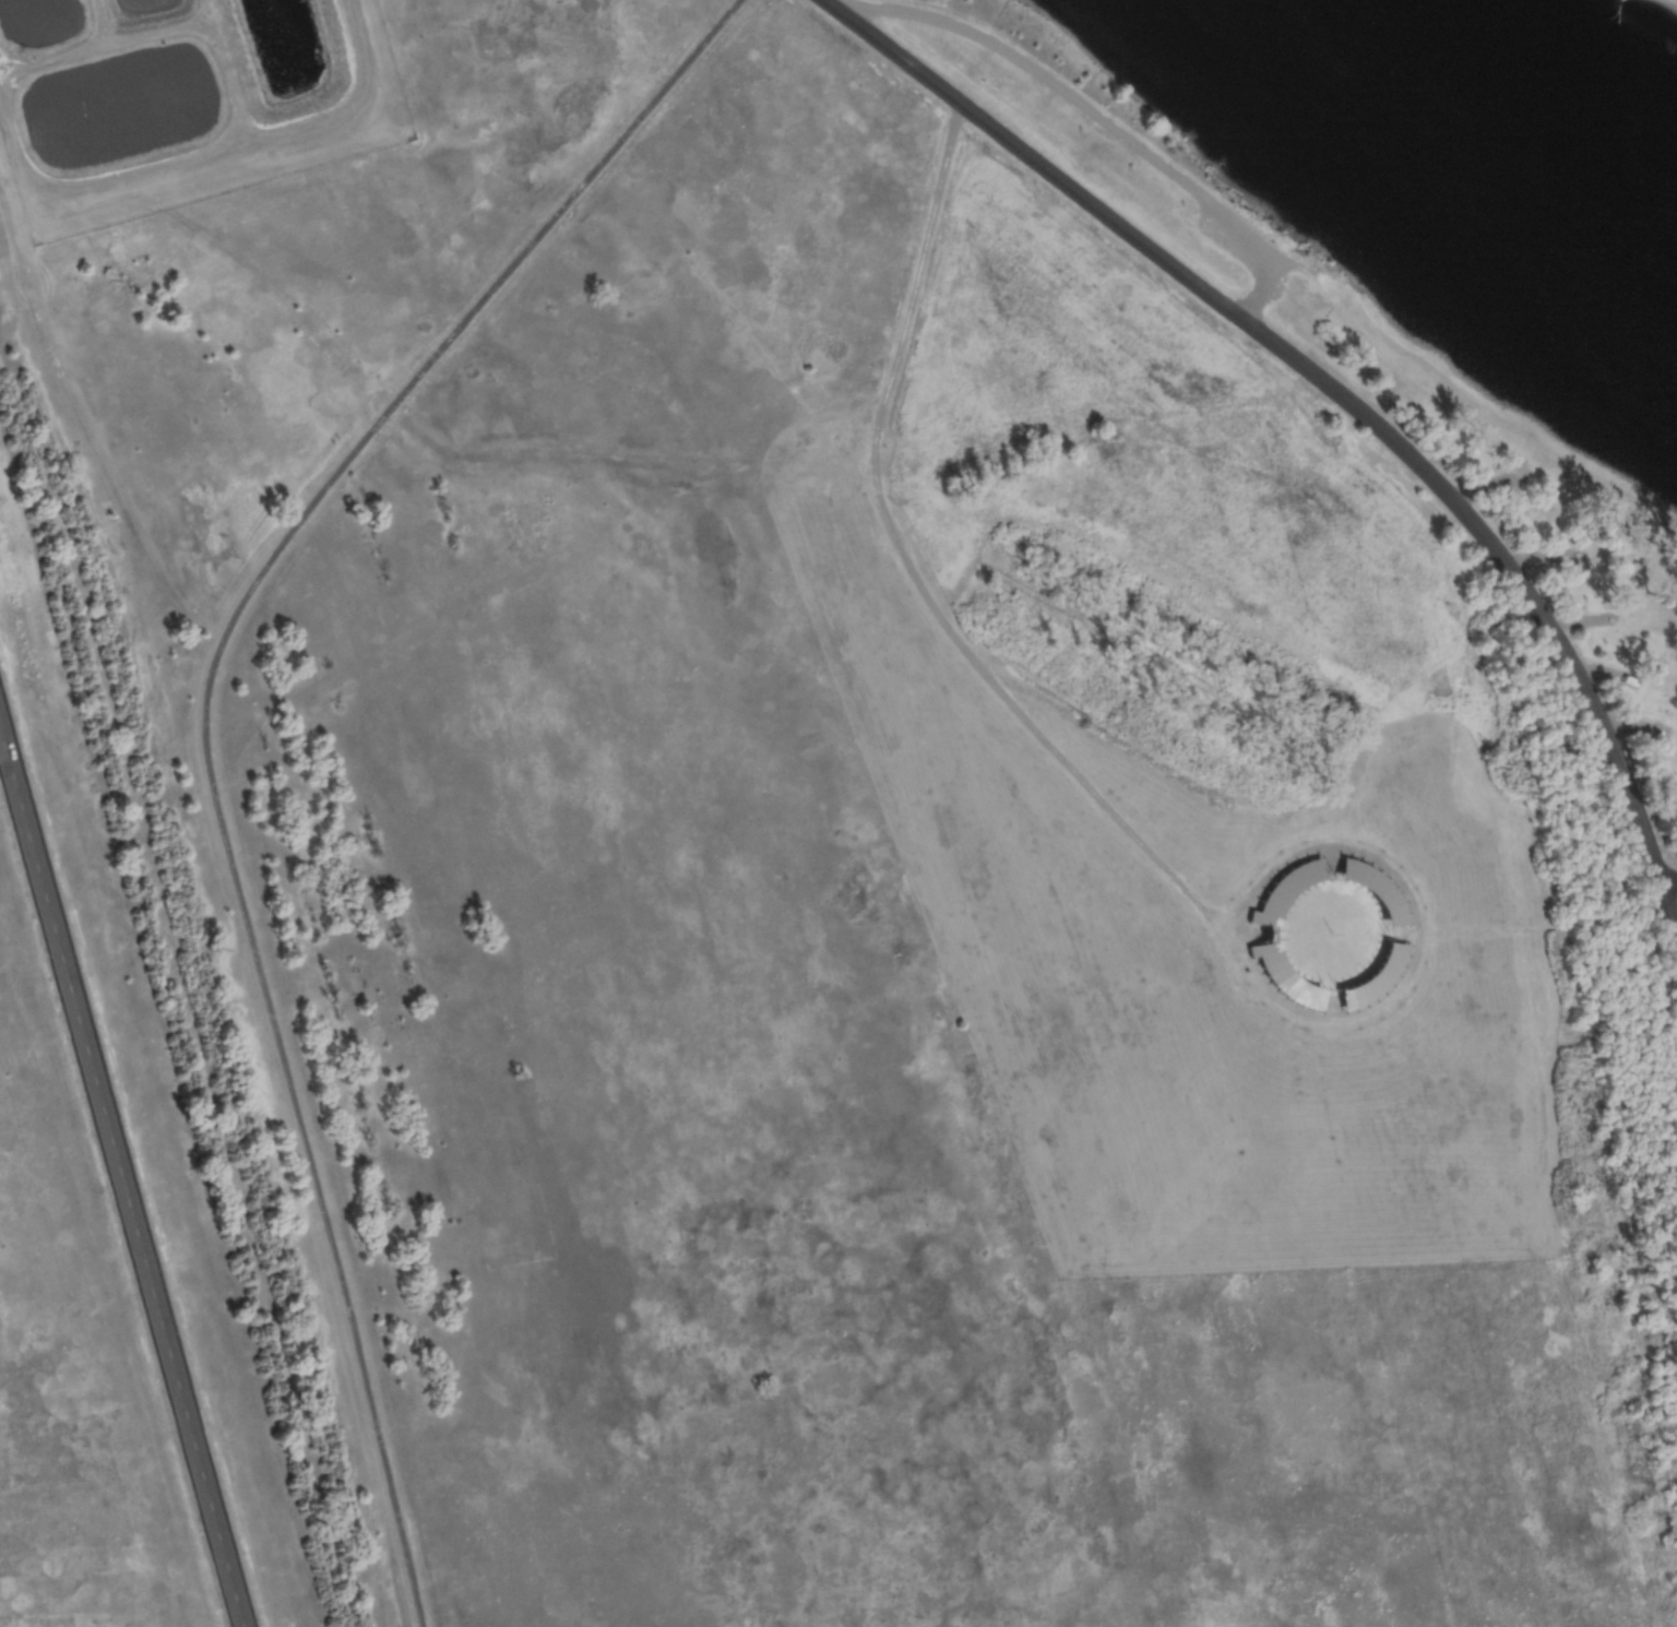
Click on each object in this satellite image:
road: (1079, 105)
road: (1266, 293)
road: (1316, 378)
road: (911, 573)
road: (202, 731)
road: (1670, 879)
road: (1669, 901)
road: (1545, 929)
building: (1262, 931)
road: (1416, 936)
road: (120, 1179)

